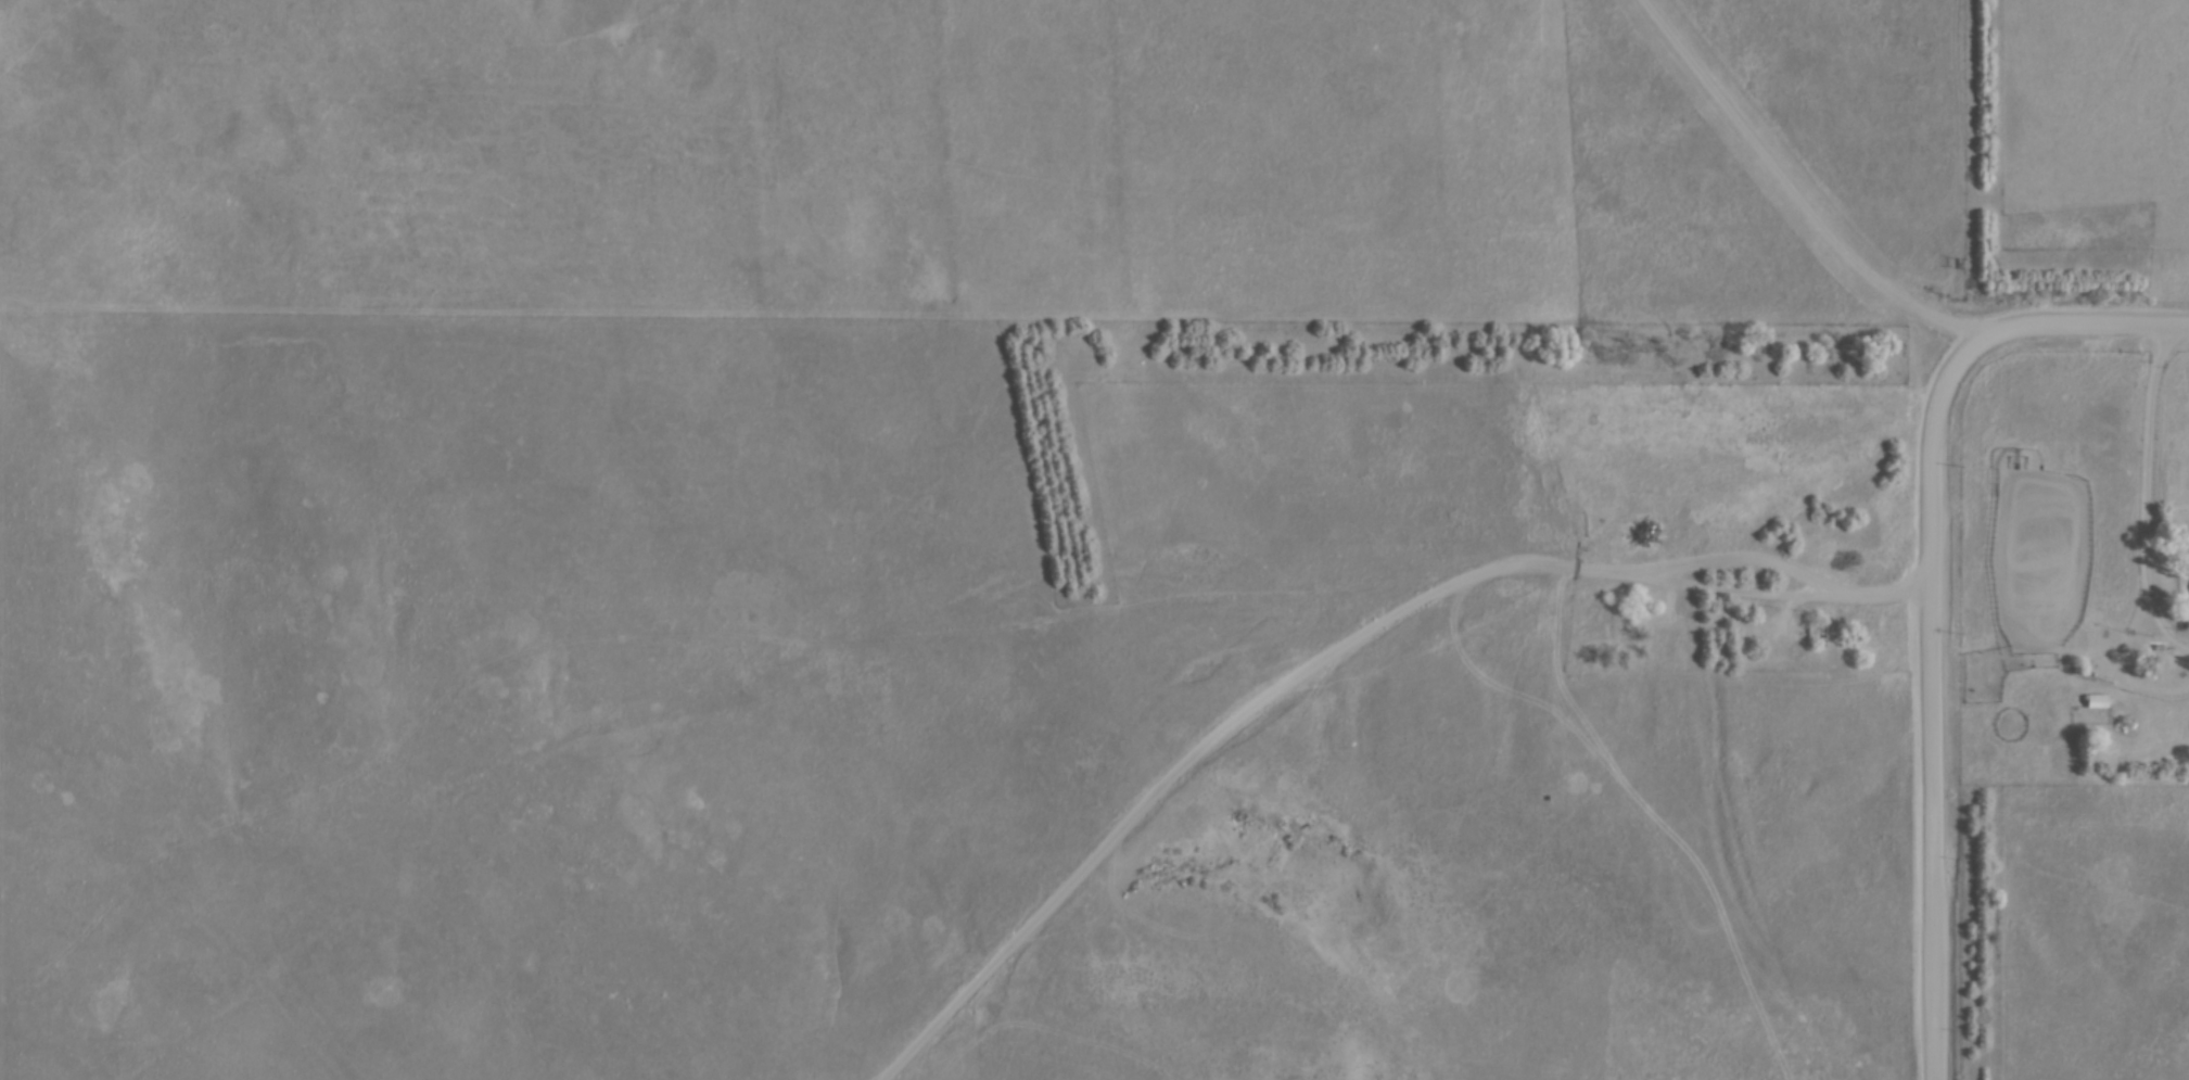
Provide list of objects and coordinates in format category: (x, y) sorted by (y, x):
road: (2073, 319)
road: (2140, 491)
road: (1326, 651)
building: (2093, 698)
road: (1925, 708)

